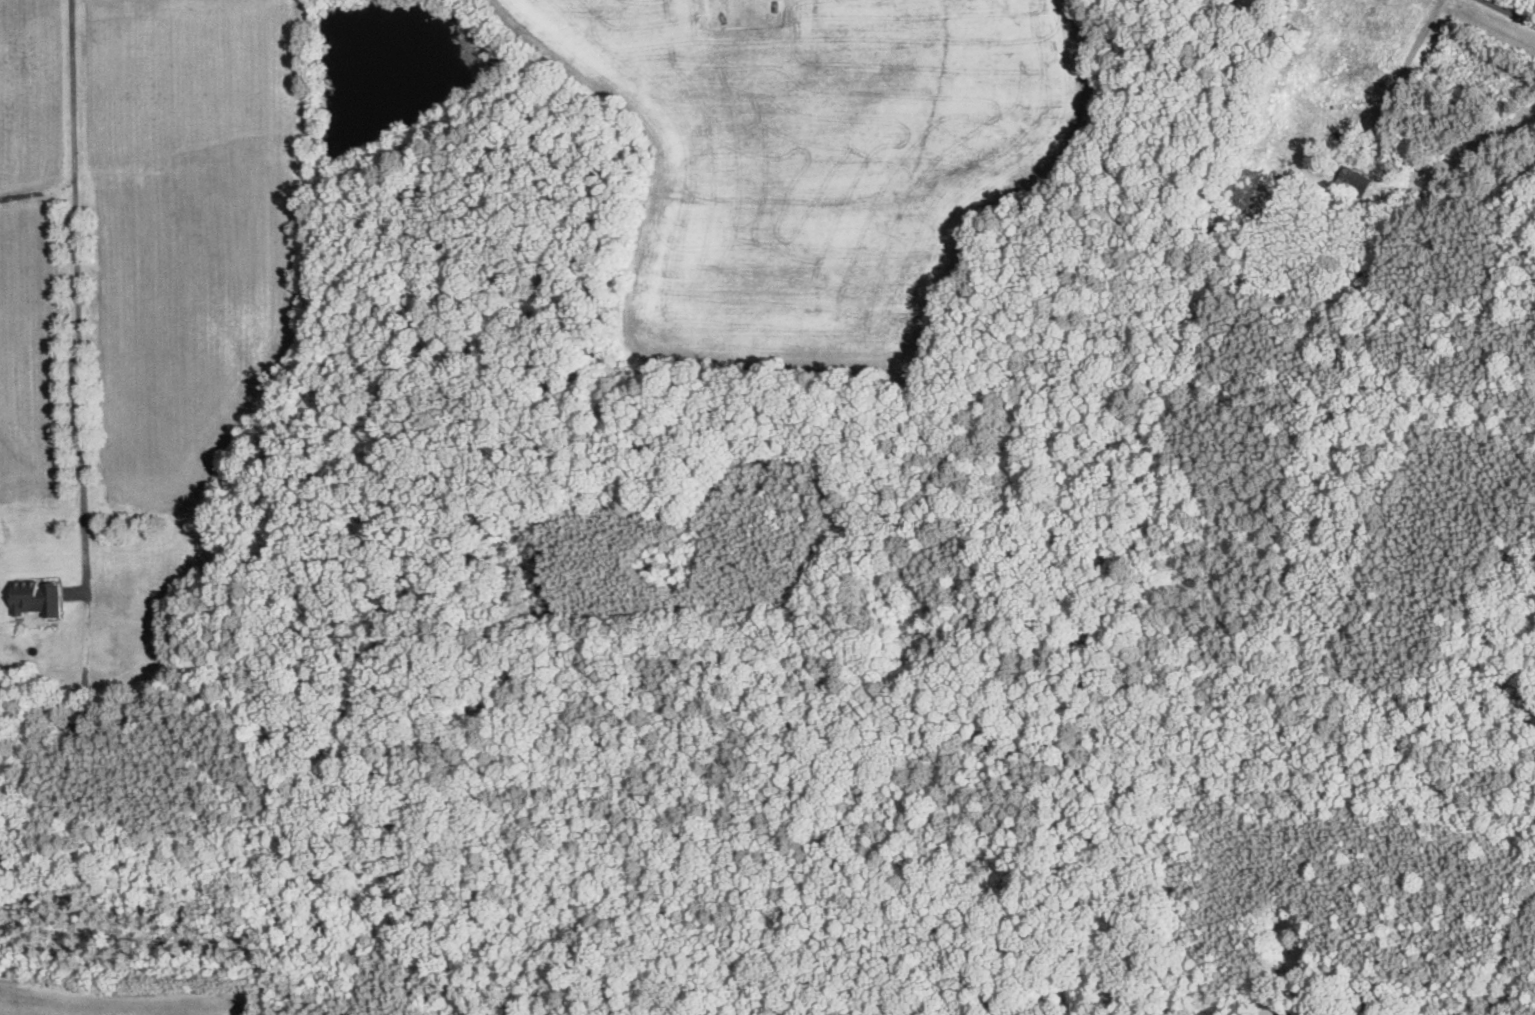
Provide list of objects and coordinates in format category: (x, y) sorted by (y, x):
road: (1511, 11)
building: (1356, 182)
road: (80, 294)
building: (38, 598)
building: (79, 732)
building: (1509, 999)

